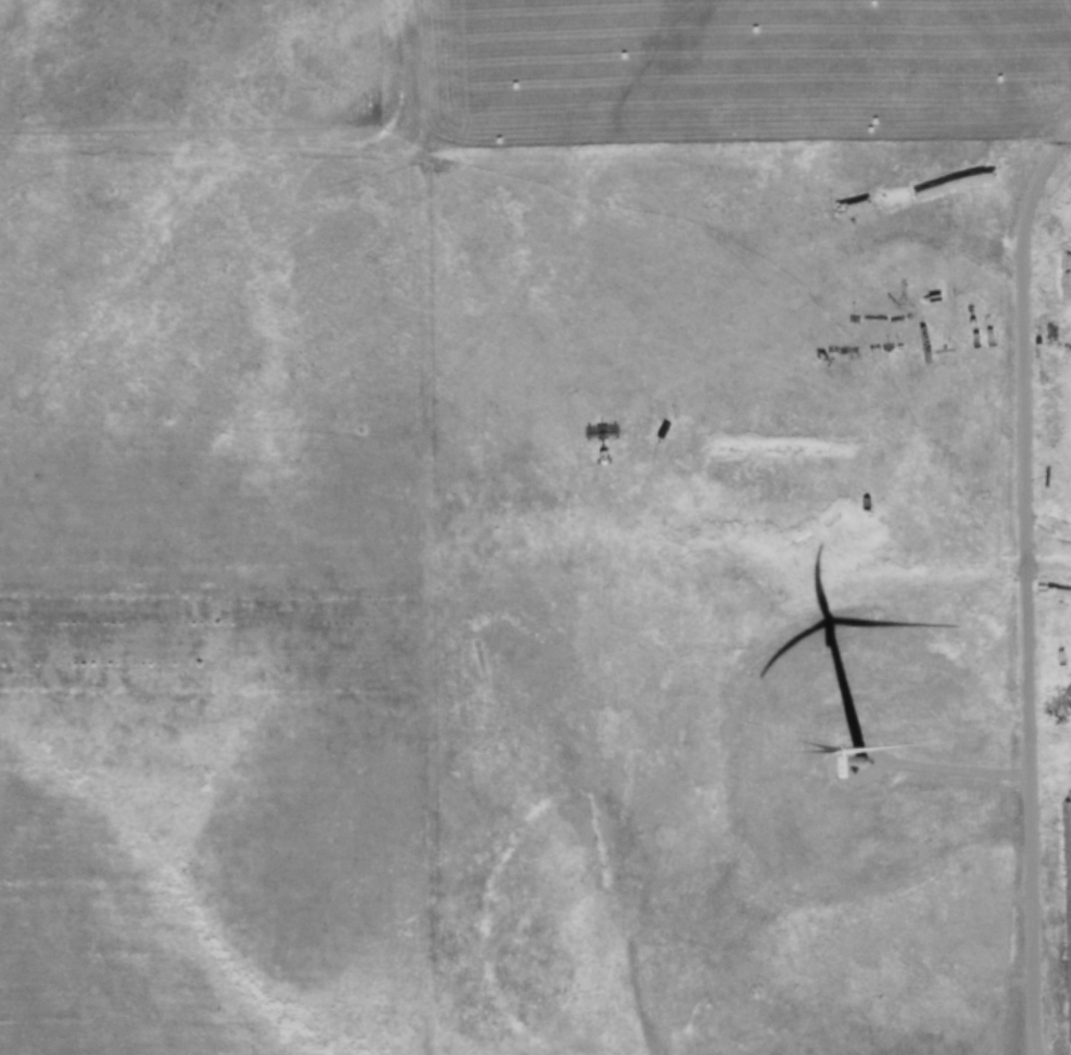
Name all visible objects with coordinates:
road: (429, 60)
wind turbine: (860, 759)

